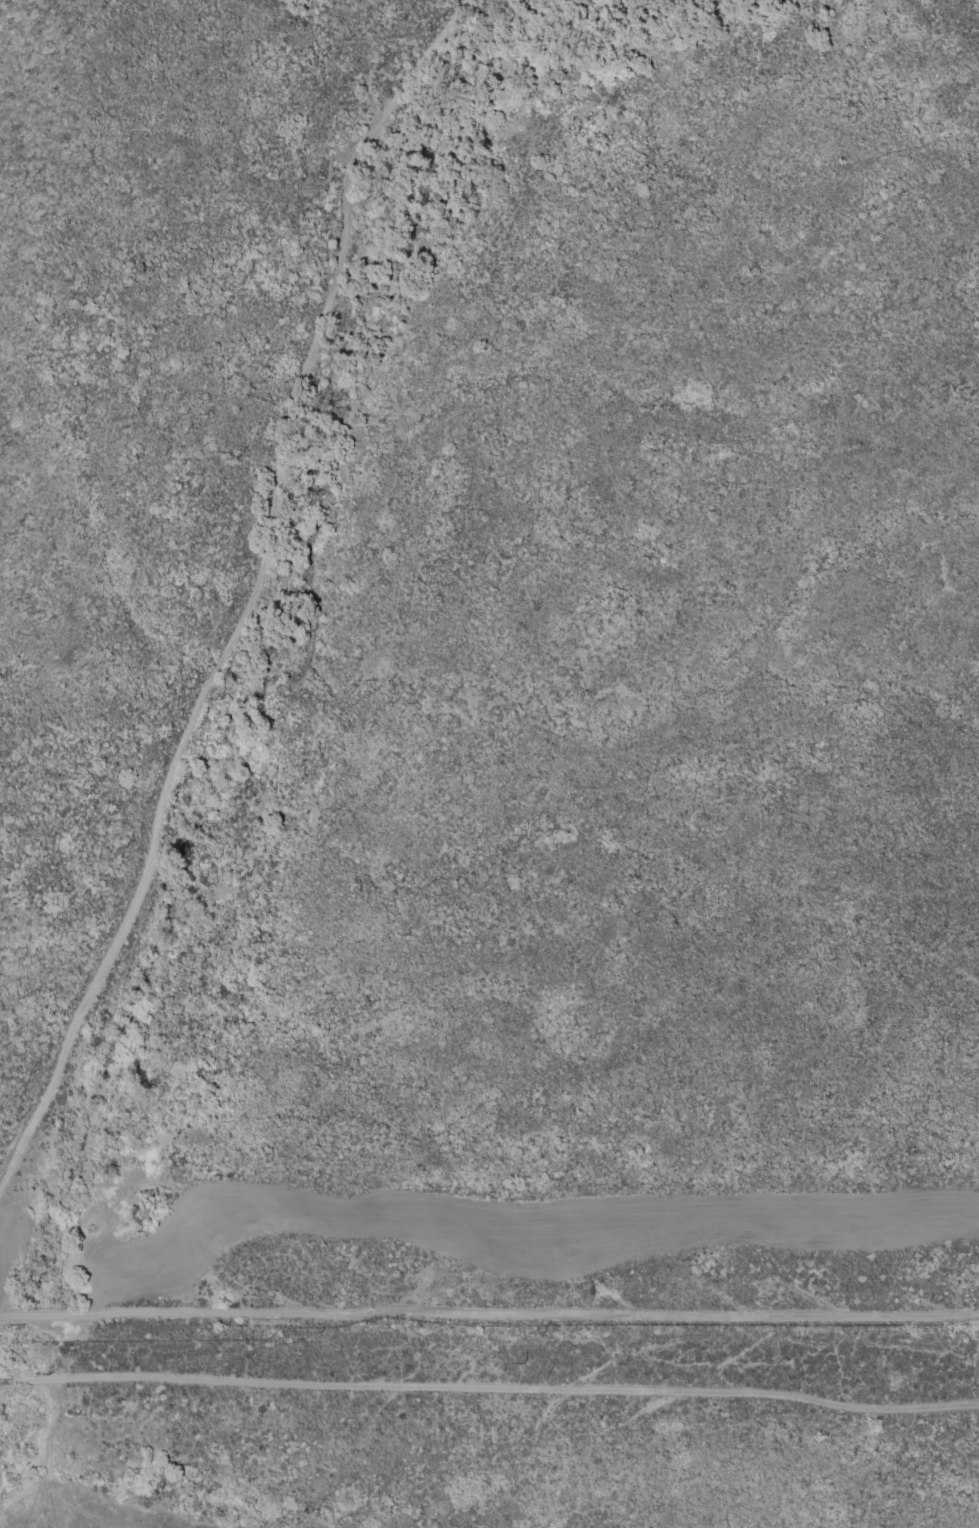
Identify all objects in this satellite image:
road: (489, 1313)
road: (490, 1390)

